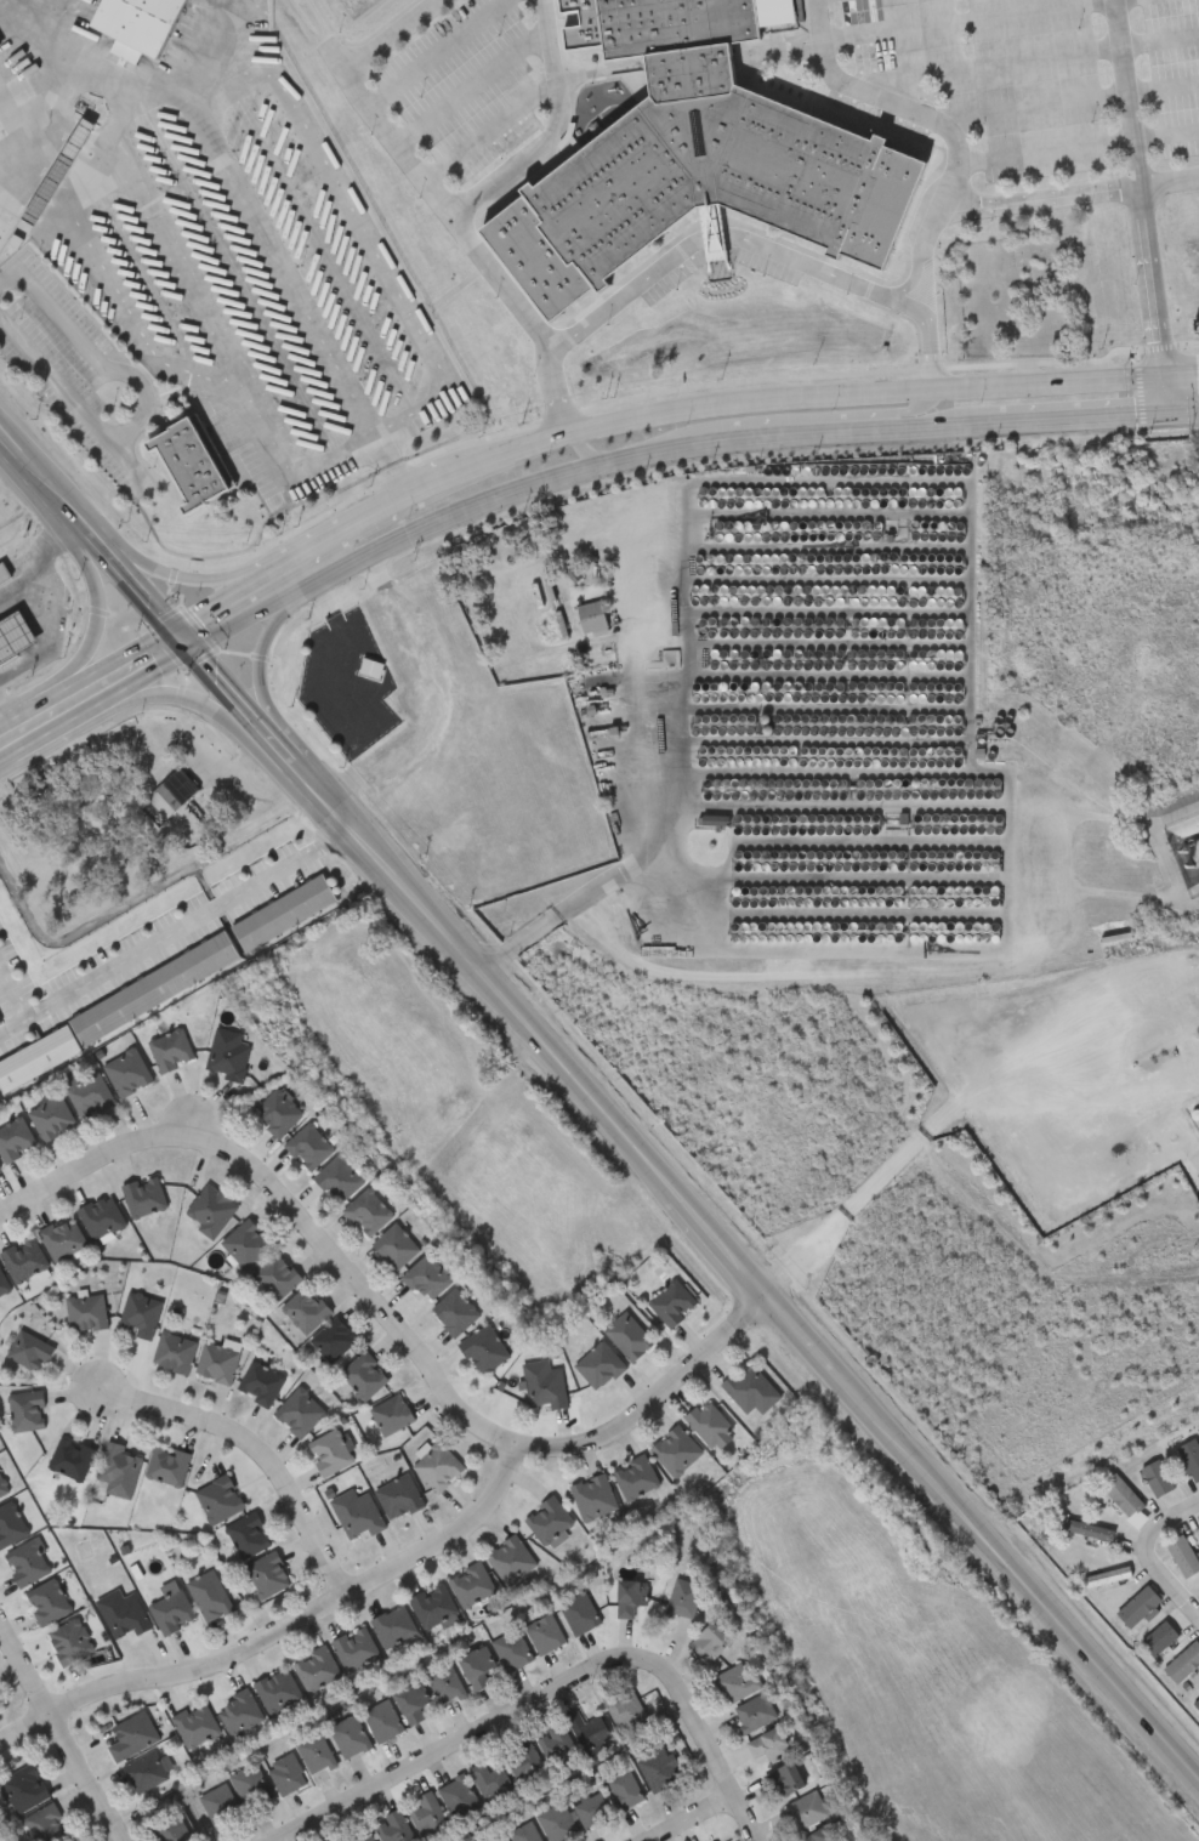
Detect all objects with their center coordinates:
road: (971, 18)
building: (136, 25)
road: (438, 53)
road: (1024, 62)
building: (15, 80)
road: (470, 90)
road: (1126, 91)
road: (891, 103)
road: (1070, 103)
road: (549, 132)
road: (487, 133)
road: (1076, 149)
building: (689, 155)
building: (58, 167)
road: (1017, 195)
road: (431, 199)
road: (254, 215)
road: (726, 237)
road: (172, 254)
road: (1152, 295)
park: (1013, 296)
road: (930, 345)
traffic signals: (1161, 367)
road: (881, 385)
road: (150, 409)
road: (1182, 409)
traffic signals: (1165, 410)
road: (911, 411)
road: (1067, 414)
road: (920, 422)
road: (785, 432)
road: (351, 449)
road: (580, 449)
road: (381, 451)
road: (646, 455)
building: (187, 464)
road: (485, 466)
road: (397, 484)
road: (454, 513)
road: (357, 530)
road: (42, 568)
building: (4, 575)
road: (191, 575)
road: (258, 606)
building: (590, 618)
road: (91, 631)
building: (15, 641)
gas station: (15, 641)
road: (51, 642)
traffic signals: (194, 643)
road: (278, 655)
building: (370, 670)
road: (97, 698)
road: (192, 698)
road: (971, 733)
road: (5, 737)
building: (171, 795)
road: (638, 859)
building: (1193, 880)
building: (283, 915)
road: (165, 936)
building: (170, 1052)
building: (226, 1056)
building: (126, 1074)
building: (87, 1096)
road: (956, 1101)
road: (603, 1104)
building: (278, 1114)
building: (51, 1120)
building: (15, 1142)
building: (308, 1148)
building: (337, 1181)
building: (143, 1199)
building: (210, 1212)
building: (366, 1214)
building: (100, 1218)
building: (62, 1240)
building: (245, 1246)
building: (394, 1249)
building: (23, 1262)
building: (275, 1278)
building: (426, 1280)
building: (2, 1288)
building: (671, 1305)
building: (305, 1311)
building: (85, 1314)
building: (454, 1314)
building: (140, 1317)
road: (396, 1319)
building: (627, 1339)
building: (333, 1341)
building: (483, 1351)
building: (28, 1352)
building: (174, 1354)
building: (216, 1364)
building: (598, 1368)
building: (364, 1377)
building: (260, 1385)
building: (544, 1386)
building: (750, 1392)
building: (25, 1413)
building: (300, 1414)
building: (391, 1416)
building: (708, 1425)
road: (266, 1450)
building: (675, 1453)
building: (330, 1454)
building: (1191, 1460)
building: (70, 1461)
building: (167, 1467)
building: (437, 1468)
building: (118, 1472)
building: (635, 1479)
building: (1157, 1481)
building: (1121, 1496)
building: (398, 1499)
building: (592, 1500)
building: (218, 1501)
building: (356, 1516)
road: (1170, 1523)
building: (547, 1524)
building: (10, 1527)
building: (1084, 1530)
building: (246, 1538)
building: (1182, 1558)
building: (510, 1563)
building: (25, 1566)
building: (267, 1578)
building: (1106, 1579)
building: (470, 1586)
road: (1167, 1590)
building: (209, 1598)
building: (630, 1599)
building: (683, 1601)
building: (46, 1604)
building: (432, 1609)
building: (1137, 1609)
building: (171, 1614)
building: (579, 1615)
building: (121, 1616)
building: (392, 1629)
road: (284, 1635)
building: (544, 1636)
building: (1158, 1642)
building: (711, 1643)
building: (69, 1644)
building: (354, 1650)
building: (511, 1653)
building: (1183, 1665)
building: (476, 1669)
building: (316, 1672)
building: (735, 1684)
building: (444, 1686)
building: (277, 1694)
building: (411, 1705)
building: (1197, 1706)
building: (624, 1710)
building: (238, 1715)
building: (752, 1716)
building: (382, 1723)
building: (194, 1727)
road: (62, 1729)
building: (589, 1735)
building: (131, 1738)
building: (348, 1738)
road: (698, 1740)
road: (454, 1746)
building: (768, 1748)
building: (557, 1750)
building: (314, 1756)
building: (524, 1767)
building: (659, 1772)
building: (144, 1774)
building: (285, 1775)
building: (786, 1782)
building: (491, 1783)
building: (250, 1788)
building: (22, 1791)
building: (624, 1791)
building: (458, 1800)
building: (218, 1807)
building: (591, 1812)
building: (806, 1812)
building: (428, 1818)
road: (691, 1819)
building: (557, 1824)
building: (45, 1826)
building: (169, 1829)
building: (393, 1829)
building: (524, 1834)
building: (822, 1835)
building: (359, 1836)
building: (494, 1840)

